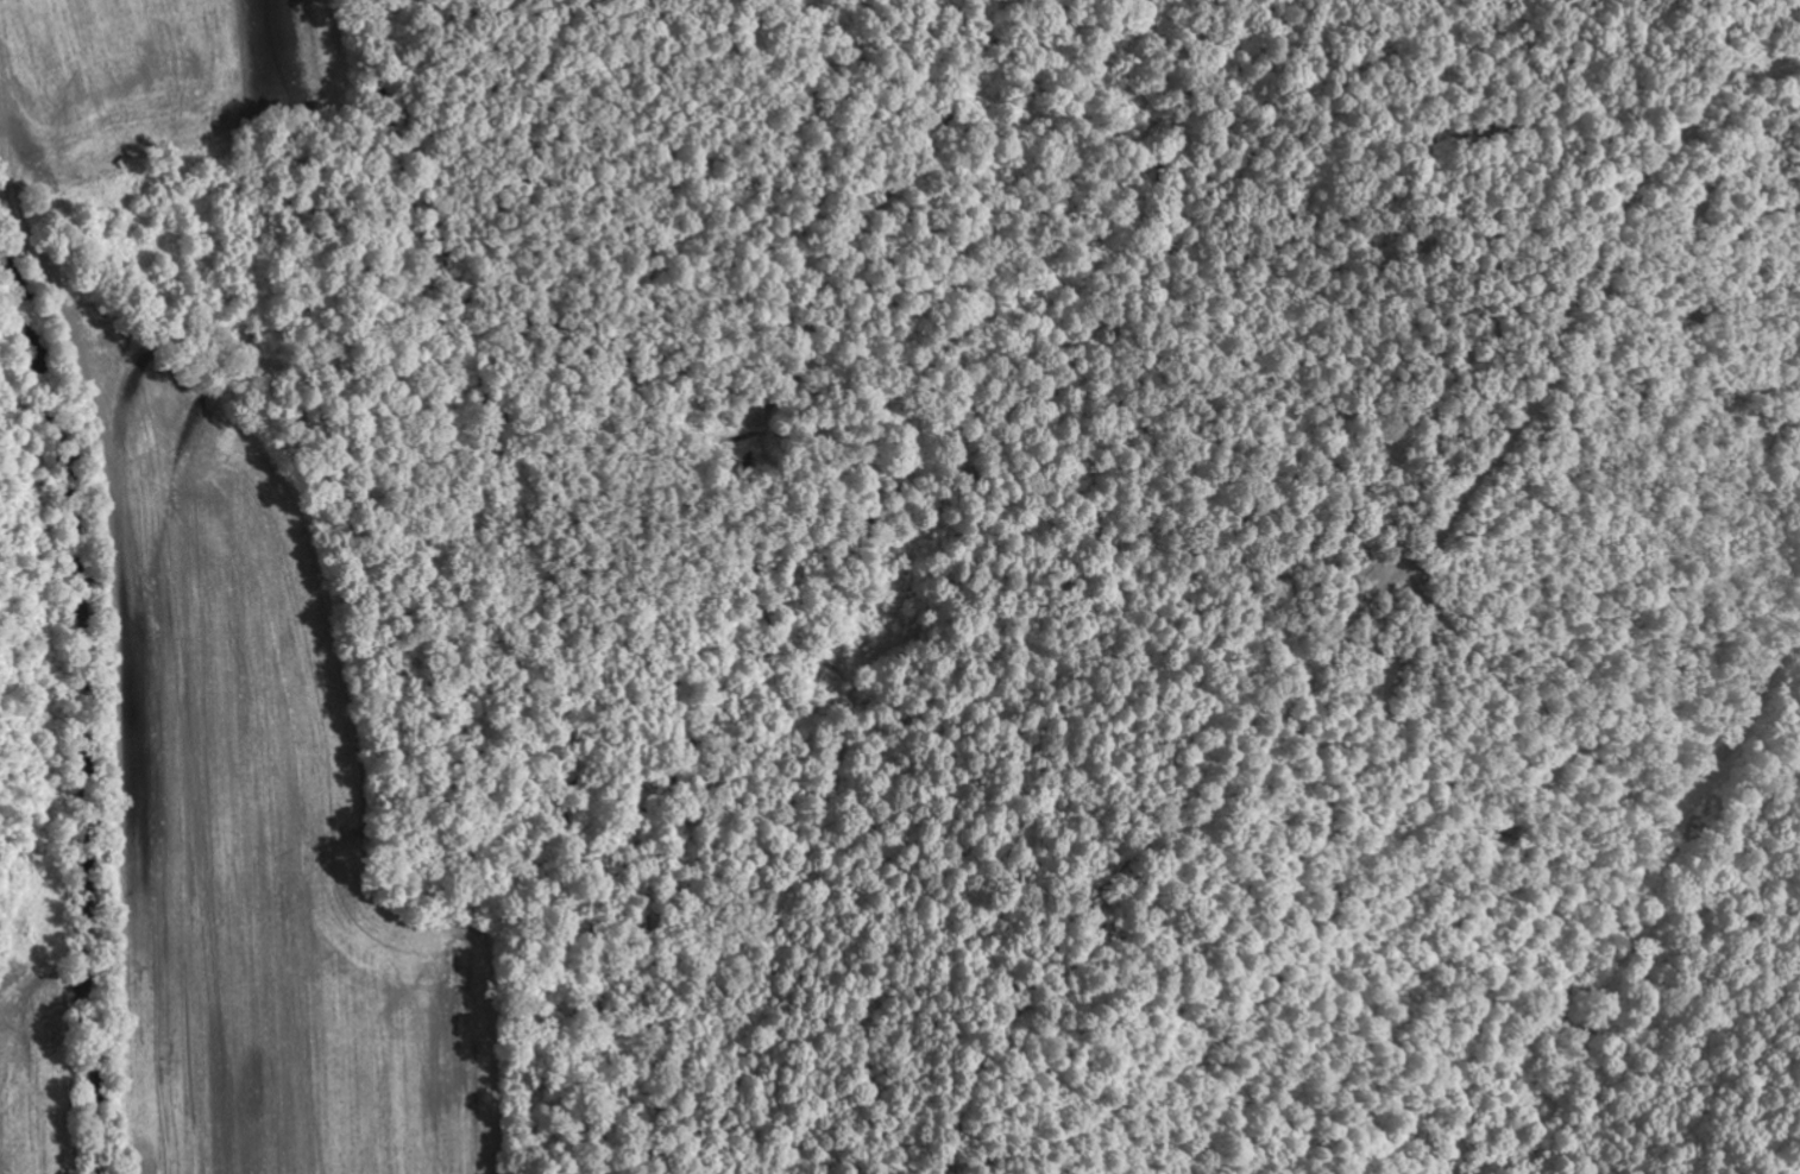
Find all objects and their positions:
road: (977, 10)

